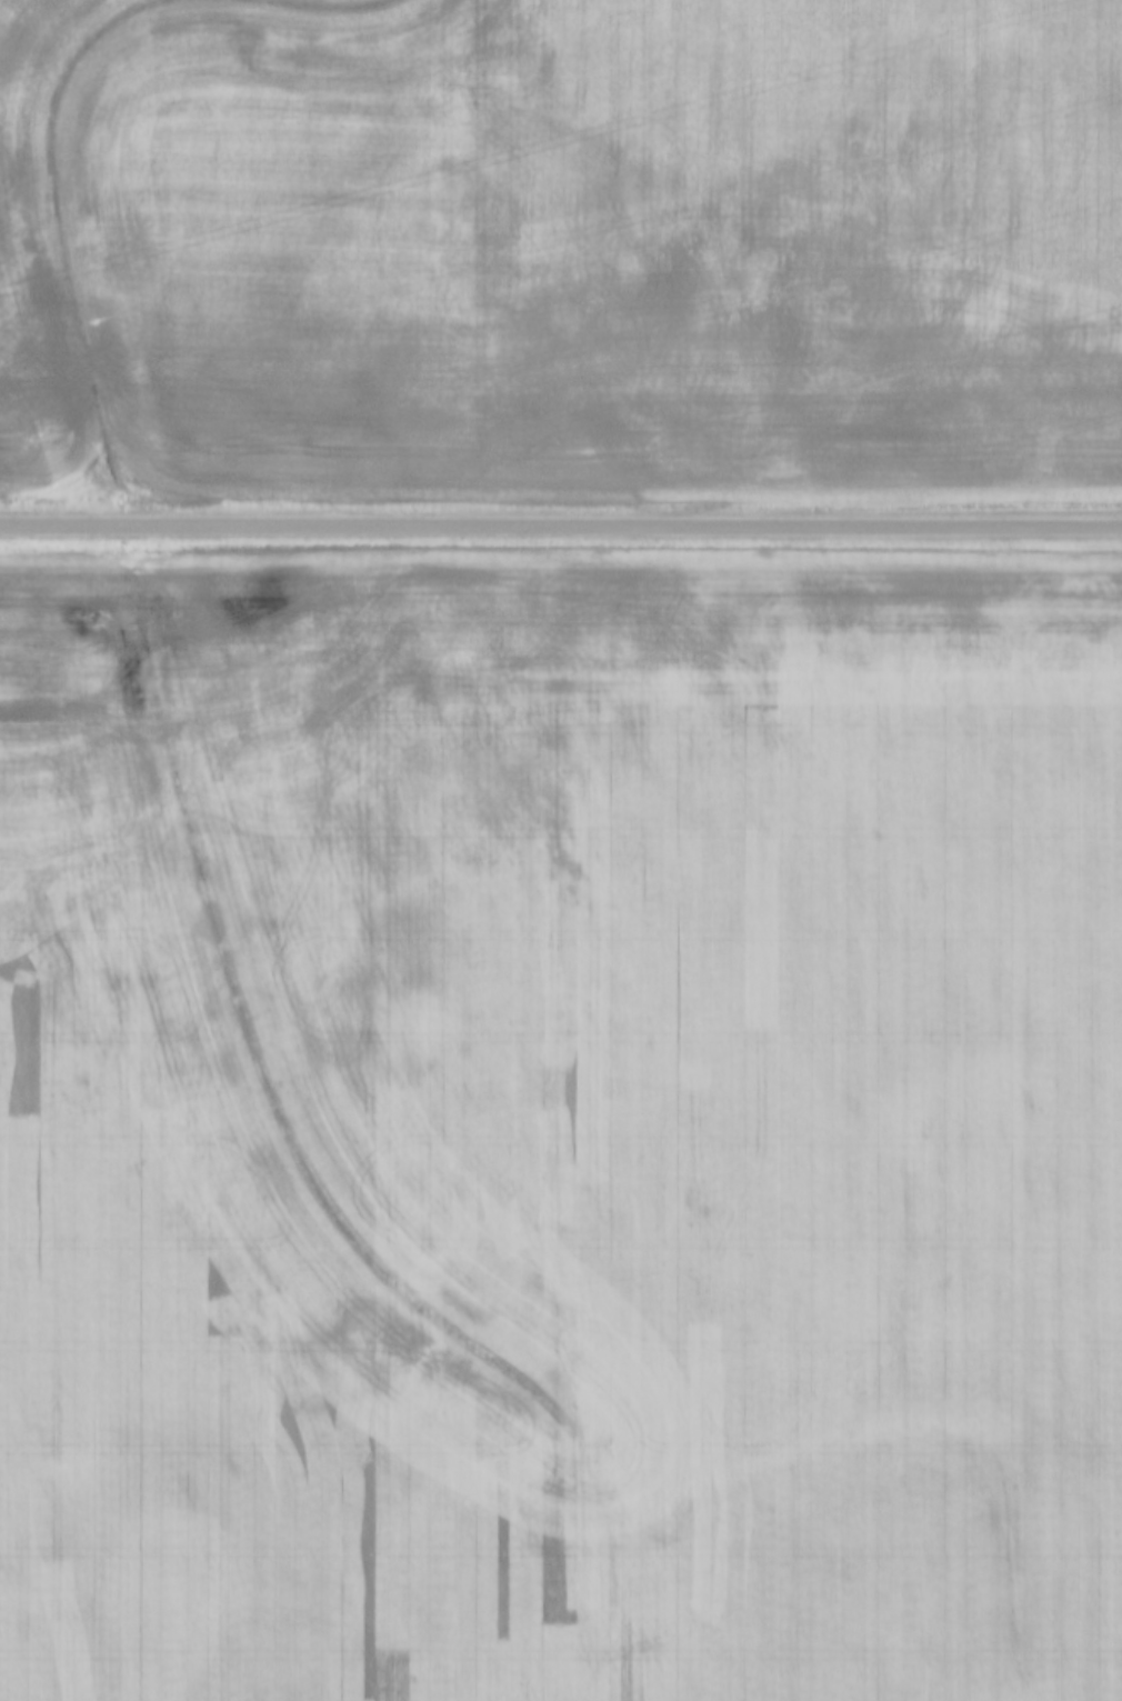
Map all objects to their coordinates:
road: (561, 523)

